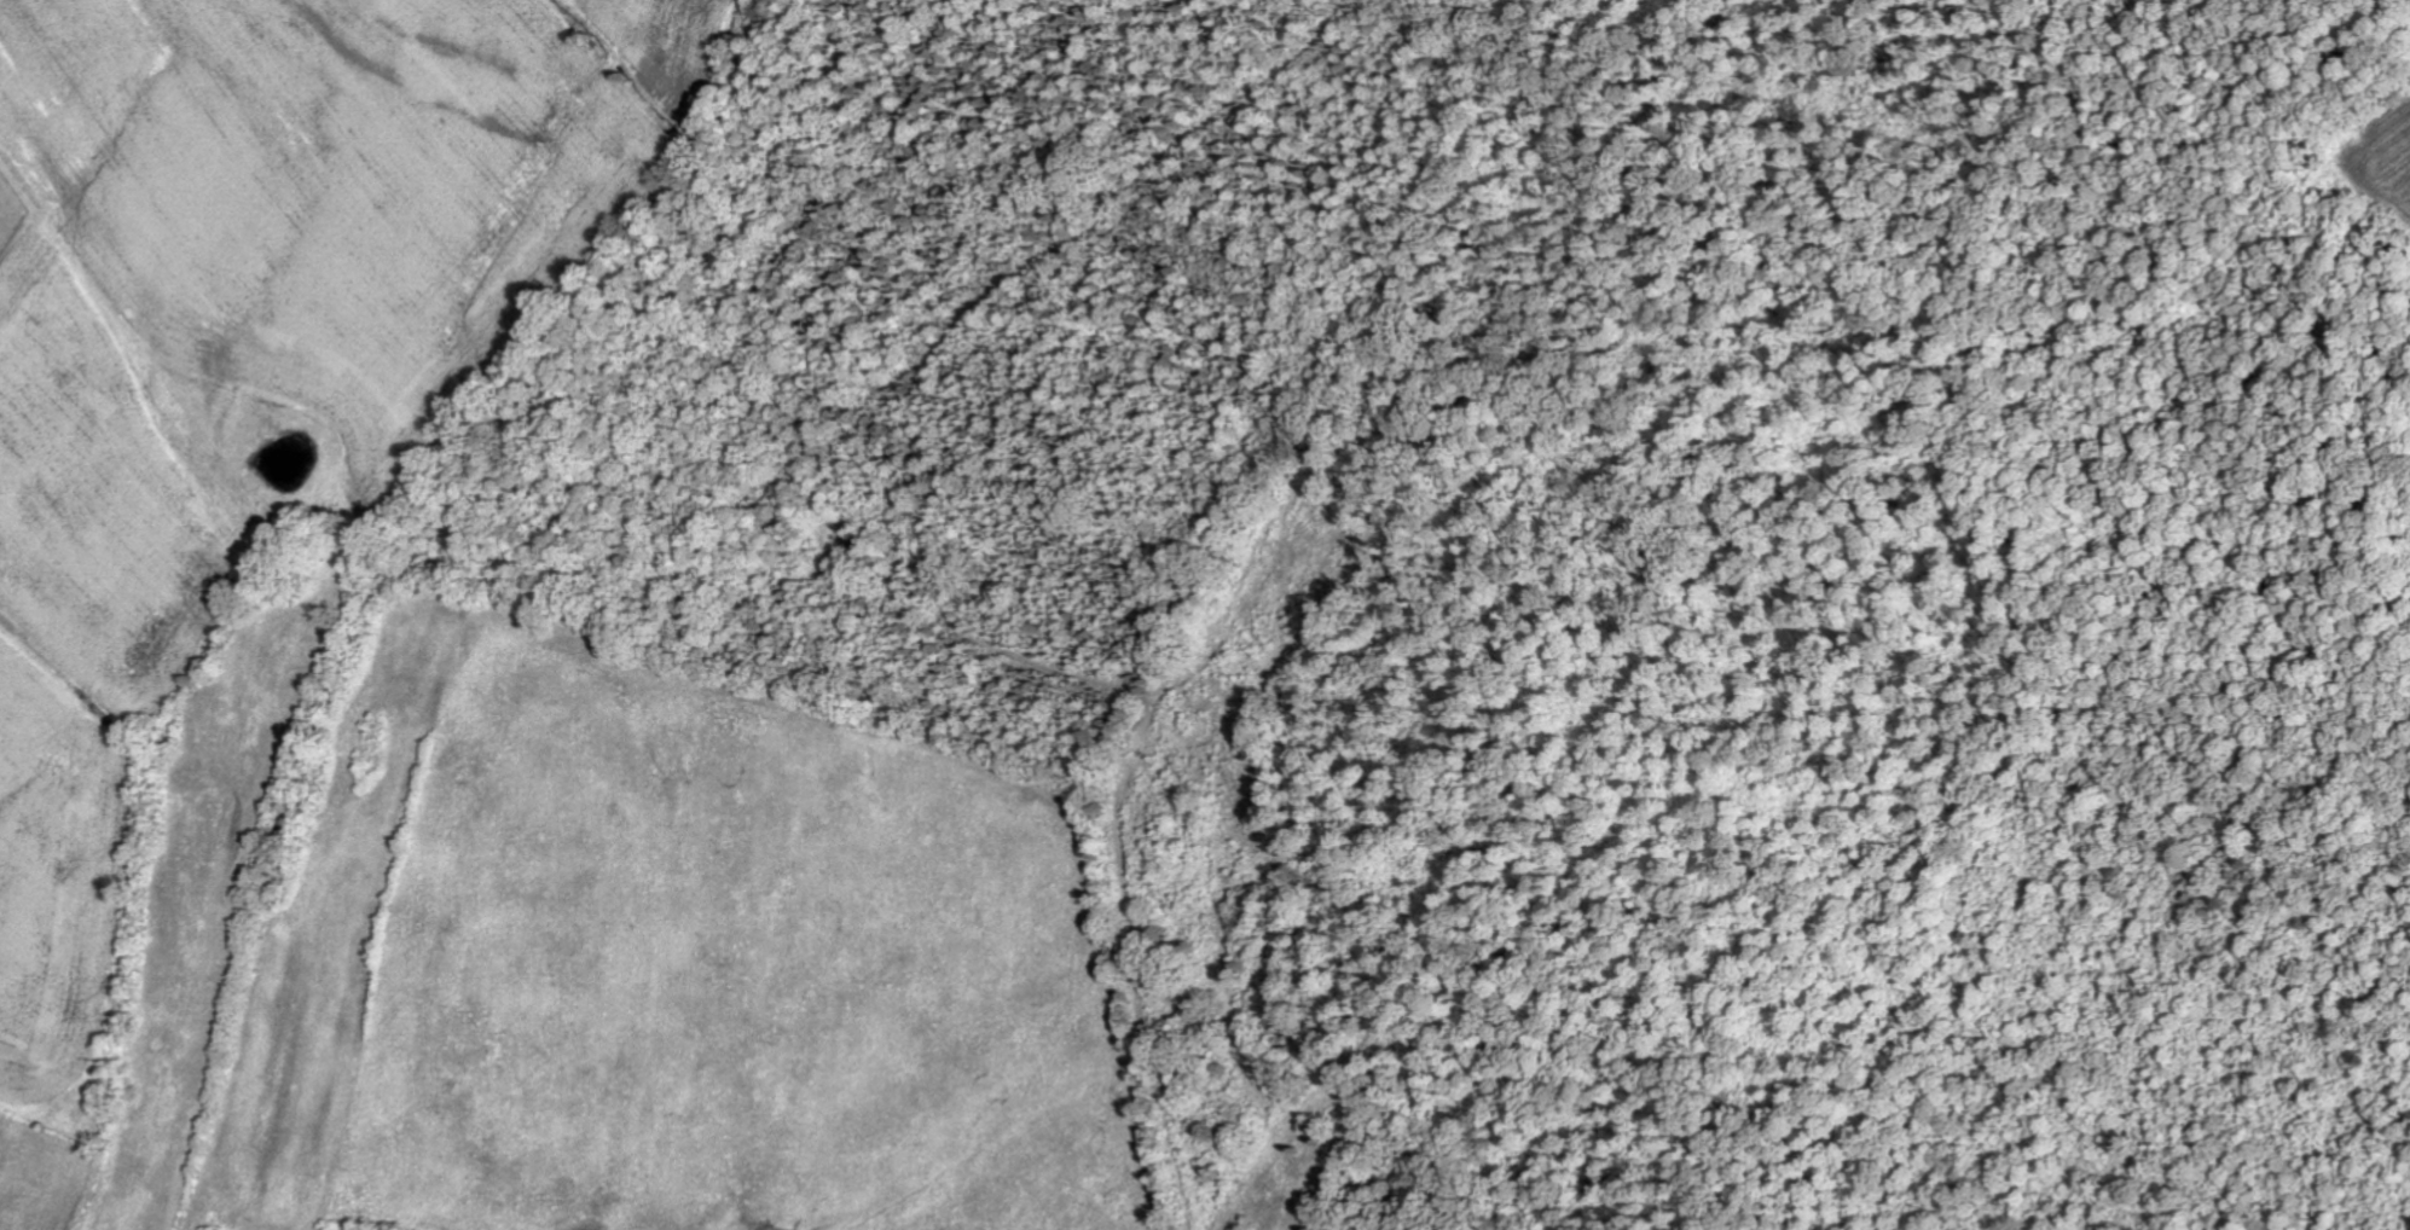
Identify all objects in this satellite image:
road: (40, 128)
road: (342, 1025)

